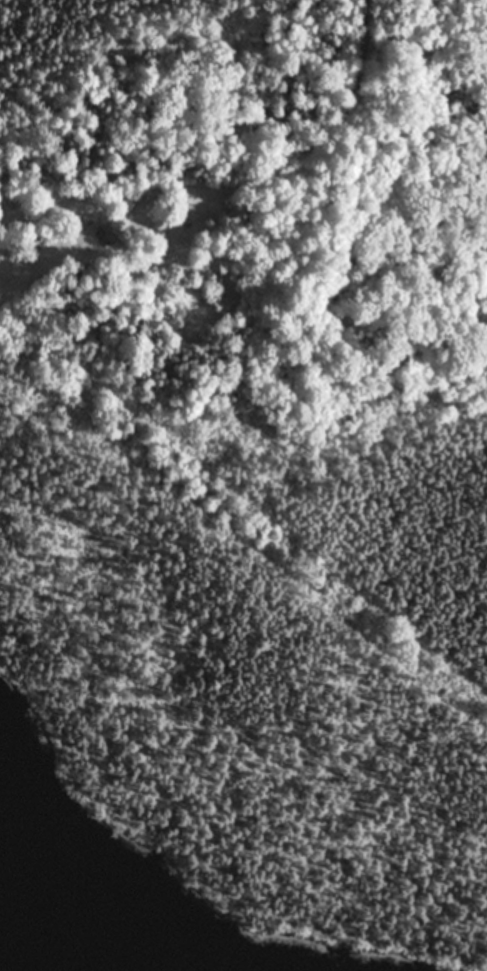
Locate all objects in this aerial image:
building: (108, 235)

